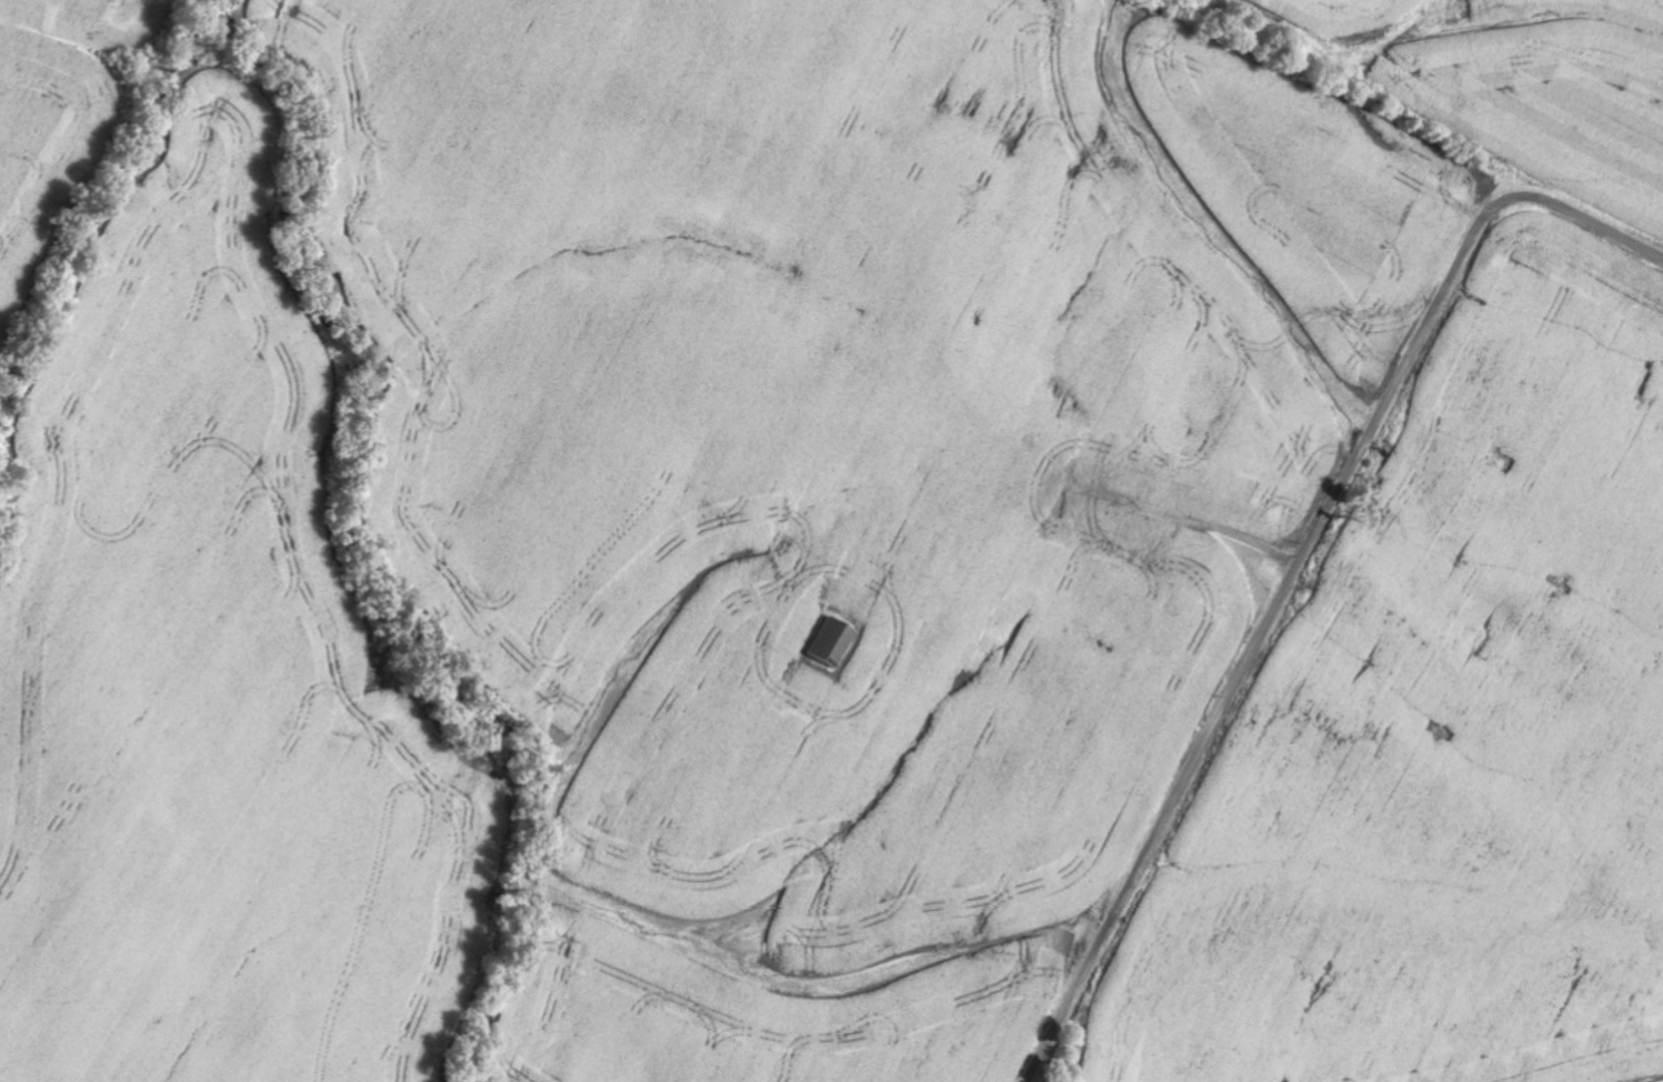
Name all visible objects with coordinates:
road: (1302, 563)
building: (834, 642)

